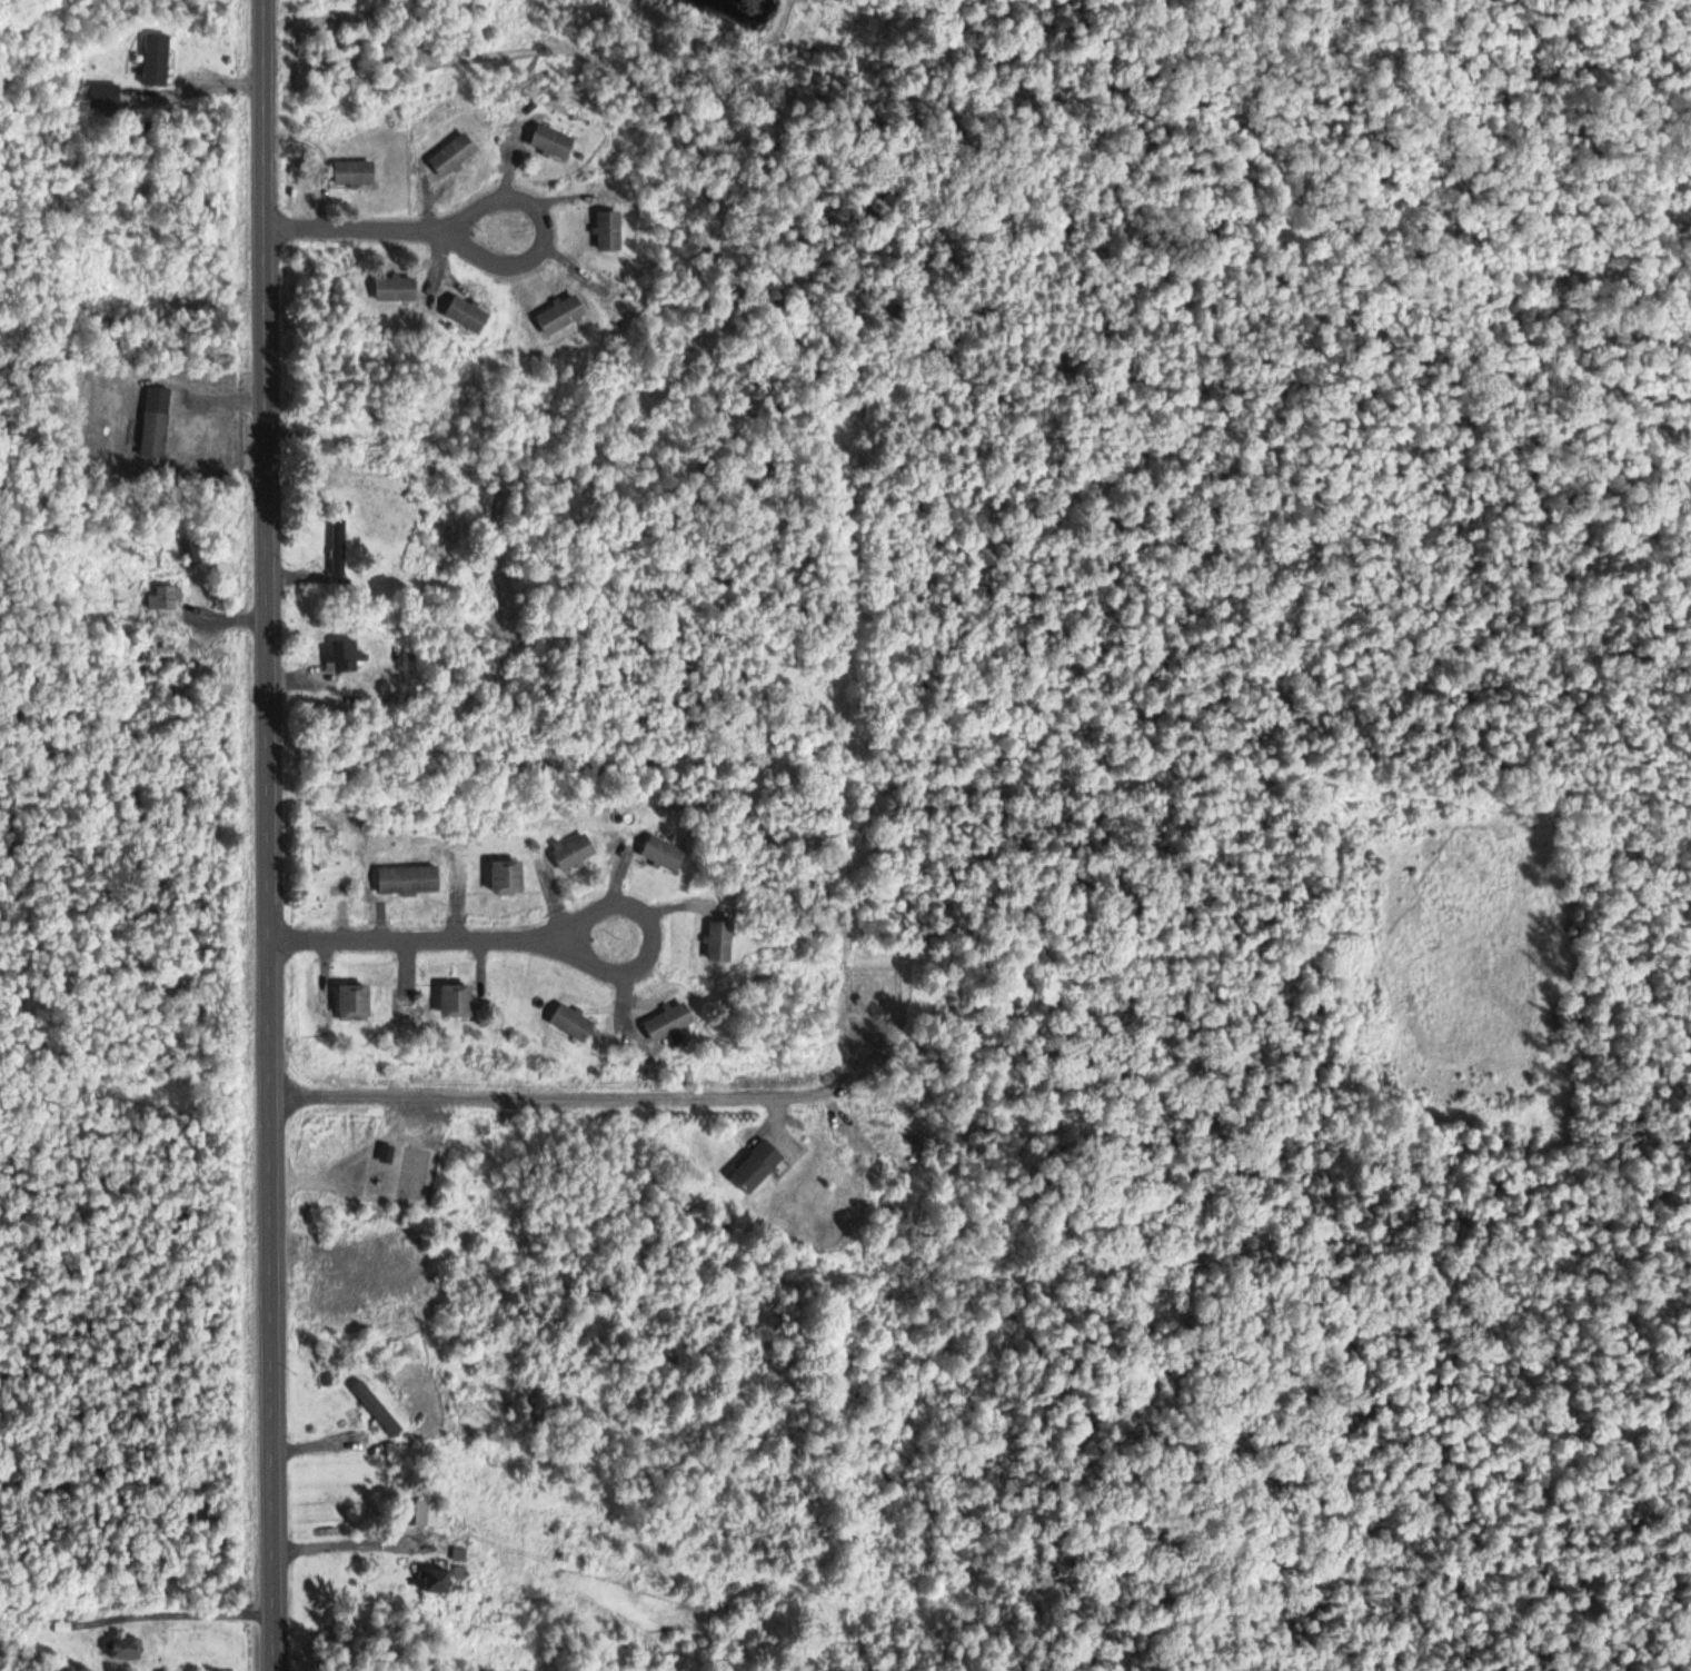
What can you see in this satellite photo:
building: (157, 60)
building: (105, 95)
building: (554, 142)
building: (455, 156)
building: (356, 173)
road: (358, 230)
building: (609, 231)
road: (551, 242)
building: (398, 288)
building: (469, 314)
building: (561, 316)
building: (192, 551)
building: (339, 553)
building: (166, 599)
building: (344, 656)
road: (271, 835)
building: (575, 853)
building: (665, 854)
building: (508, 877)
building: (410, 881)
road: (401, 936)
building: (720, 942)
road: (611, 964)
building: (458, 999)
building: (356, 1001)
building: (574, 1022)
building: (670, 1022)
road: (589, 1098)
building: (757, 1166)
building: (378, 1408)
building: (428, 1513)
building: (438, 1579)
building: (125, 1647)

